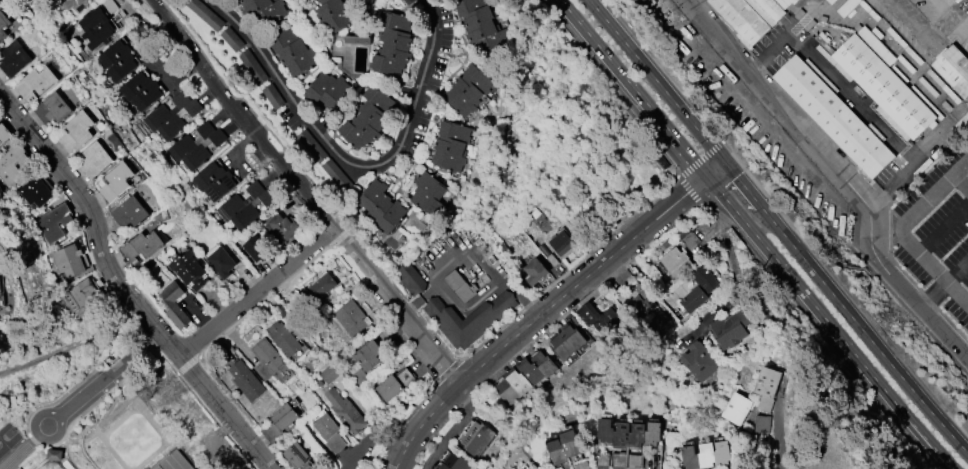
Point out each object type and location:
building: (0, 1)
road: (177, 2)
building: (832, 2)
building: (73, 4)
road: (563, 4)
building: (107, 7)
building: (847, 8)
road: (164, 10)
building: (264, 11)
building: (204, 13)
building: (336, 14)
building: (749, 16)
building: (3, 23)
building: (482, 24)
building: (96, 27)
road: (926, 31)
road: (789, 35)
building: (231, 37)
building: (359, 39)
building: (394, 48)
building: (293, 49)
building: (14, 58)
building: (117, 60)
building: (249, 60)
building: (953, 69)
road: (656, 81)
building: (36, 82)
building: (881, 83)
building: (328, 89)
building: (469, 89)
building: (141, 90)
road: (637, 91)
building: (272, 94)
building: (53, 107)
building: (172, 115)
building: (833, 115)
building: (369, 118)
building: (77, 131)
building: (4, 134)
building: (197, 145)
building: (312, 145)
building: (452, 145)
road: (704, 156)
road: (917, 156)
building: (95, 159)
traffic signals: (693, 160)
road: (349, 162)
building: (12, 164)
road: (715, 169)
building: (336, 174)
road: (840, 176)
traffic signals: (736, 177)
building: (215, 180)
building: (117, 181)
road: (961, 182)
railway: (816, 191)
building: (34, 192)
road: (304, 192)
building: (429, 192)
traffic signals: (687, 192)
road: (750, 195)
building: (246, 205)
building: (382, 206)
building: (130, 211)
building: (54, 222)
building: (283, 227)
road: (943, 228)
road: (902, 231)
parking lot: (938, 232)
building: (687, 236)
building: (563, 243)
building: (665, 244)
building: (143, 245)
building: (254, 247)
road: (464, 247)
building: (69, 260)
building: (221, 261)
building: (676, 261)
building: (536, 269)
building: (189, 270)
road: (735, 271)
building: (408, 277)
building: (706, 278)
road: (944, 284)
road: (124, 286)
building: (322, 286)
building: (460, 286)
road: (259, 292)
building: (1, 294)
building: (84, 296)
building: (693, 298)
building: (174, 305)
building: (640, 306)
road: (470, 307)
road: (540, 313)
building: (350, 317)
building: (470, 317)
building: (598, 318)
road: (828, 323)
building: (657, 324)
building: (731, 328)
building: (285, 338)
building: (567, 341)
road: (871, 341)
road: (965, 351)
building: (369, 354)
building: (267, 357)
building: (699, 360)
road: (110, 373)
building: (330, 373)
building: (526, 377)
building: (246, 378)
building: (357, 379)
building: (389, 387)
building: (767, 387)
building: (737, 408)
building: (346, 411)
building: (281, 423)
building: (762, 423)
building: (327, 427)
road: (452, 430)
building: (630, 433)
road: (777, 436)
road: (54, 437)
building: (475, 439)
road: (214, 440)
road: (386, 440)
building: (564, 446)
building: (54, 454)
building: (706, 454)
building: (298, 456)
building: (175, 461)
building: (455, 462)
building: (157, 467)
building: (523, 468)

